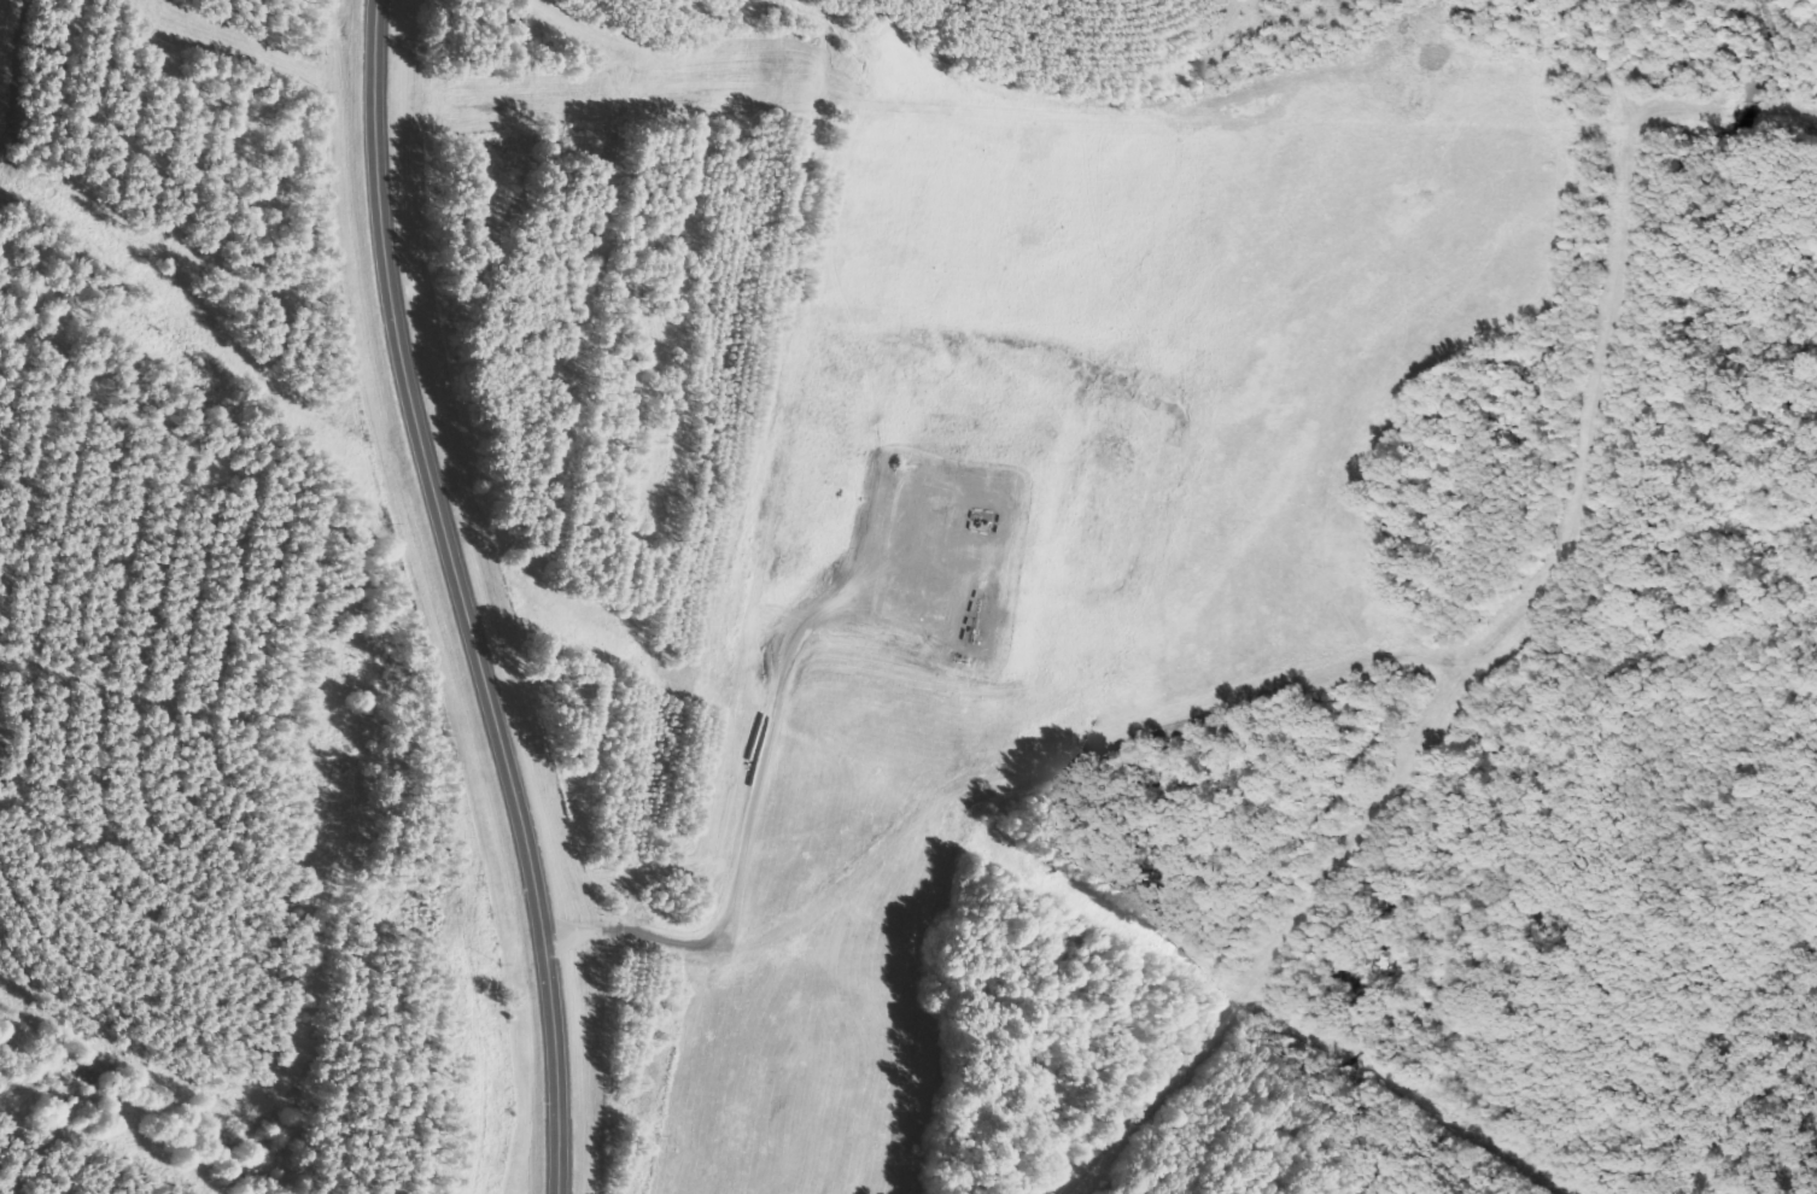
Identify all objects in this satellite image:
road: (463, 597)

